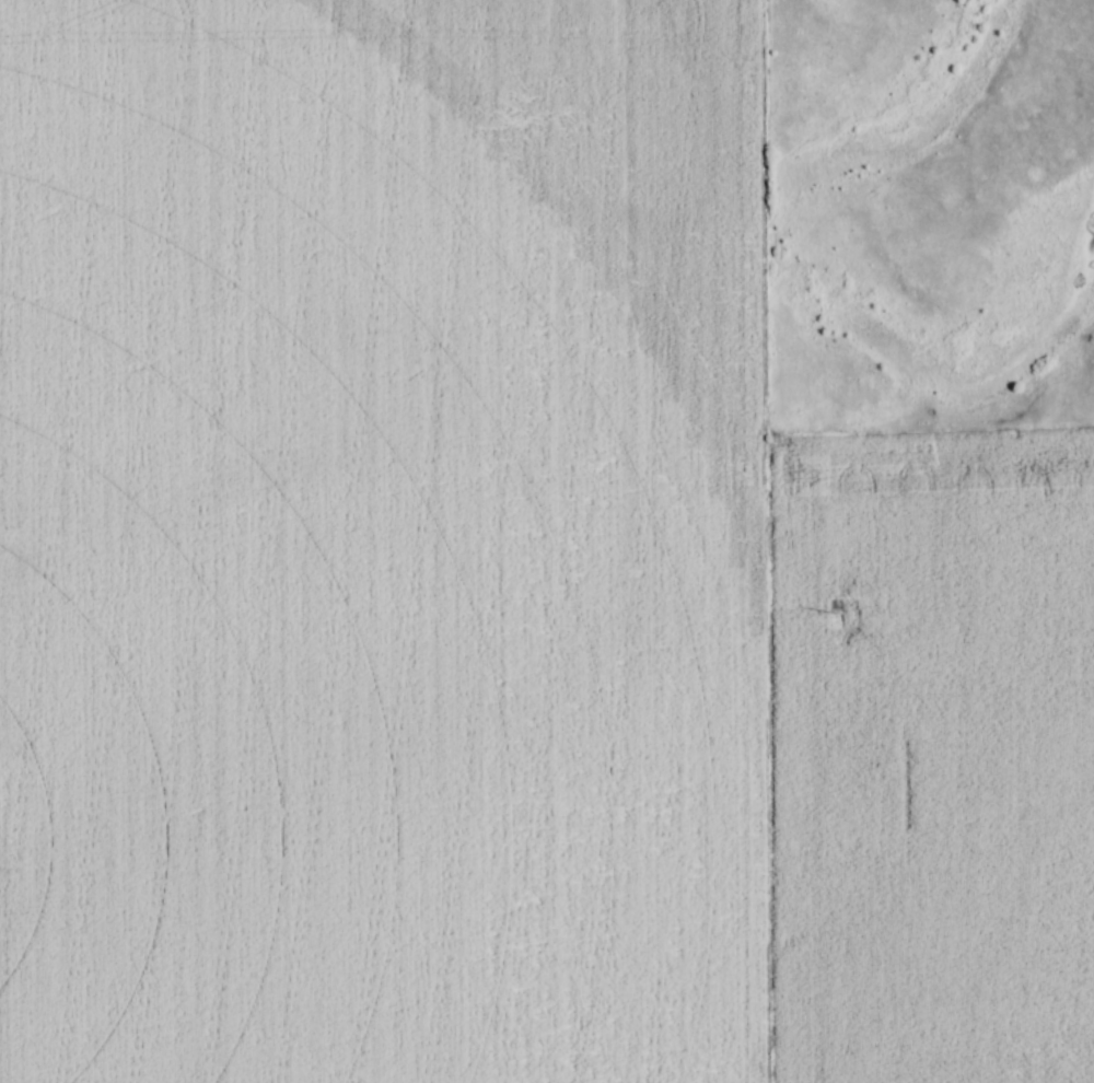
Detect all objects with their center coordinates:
crop: (928, 755)

